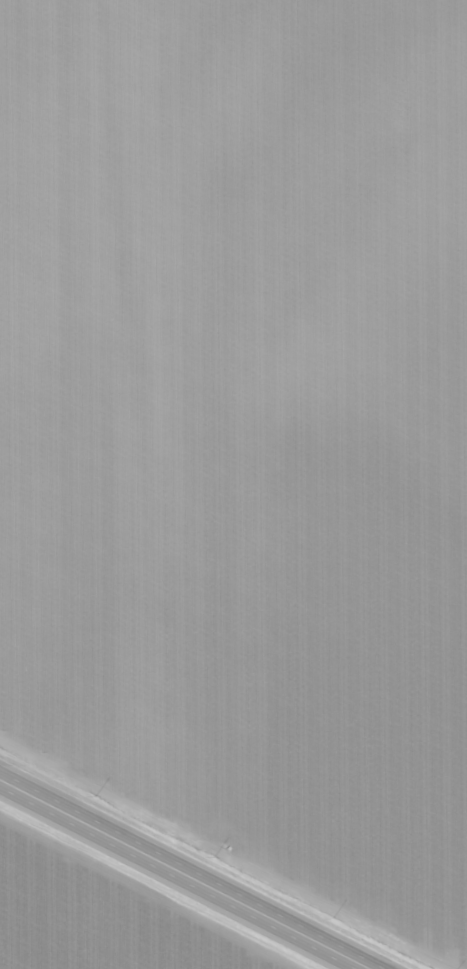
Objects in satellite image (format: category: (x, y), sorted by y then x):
road: (180, 876)

